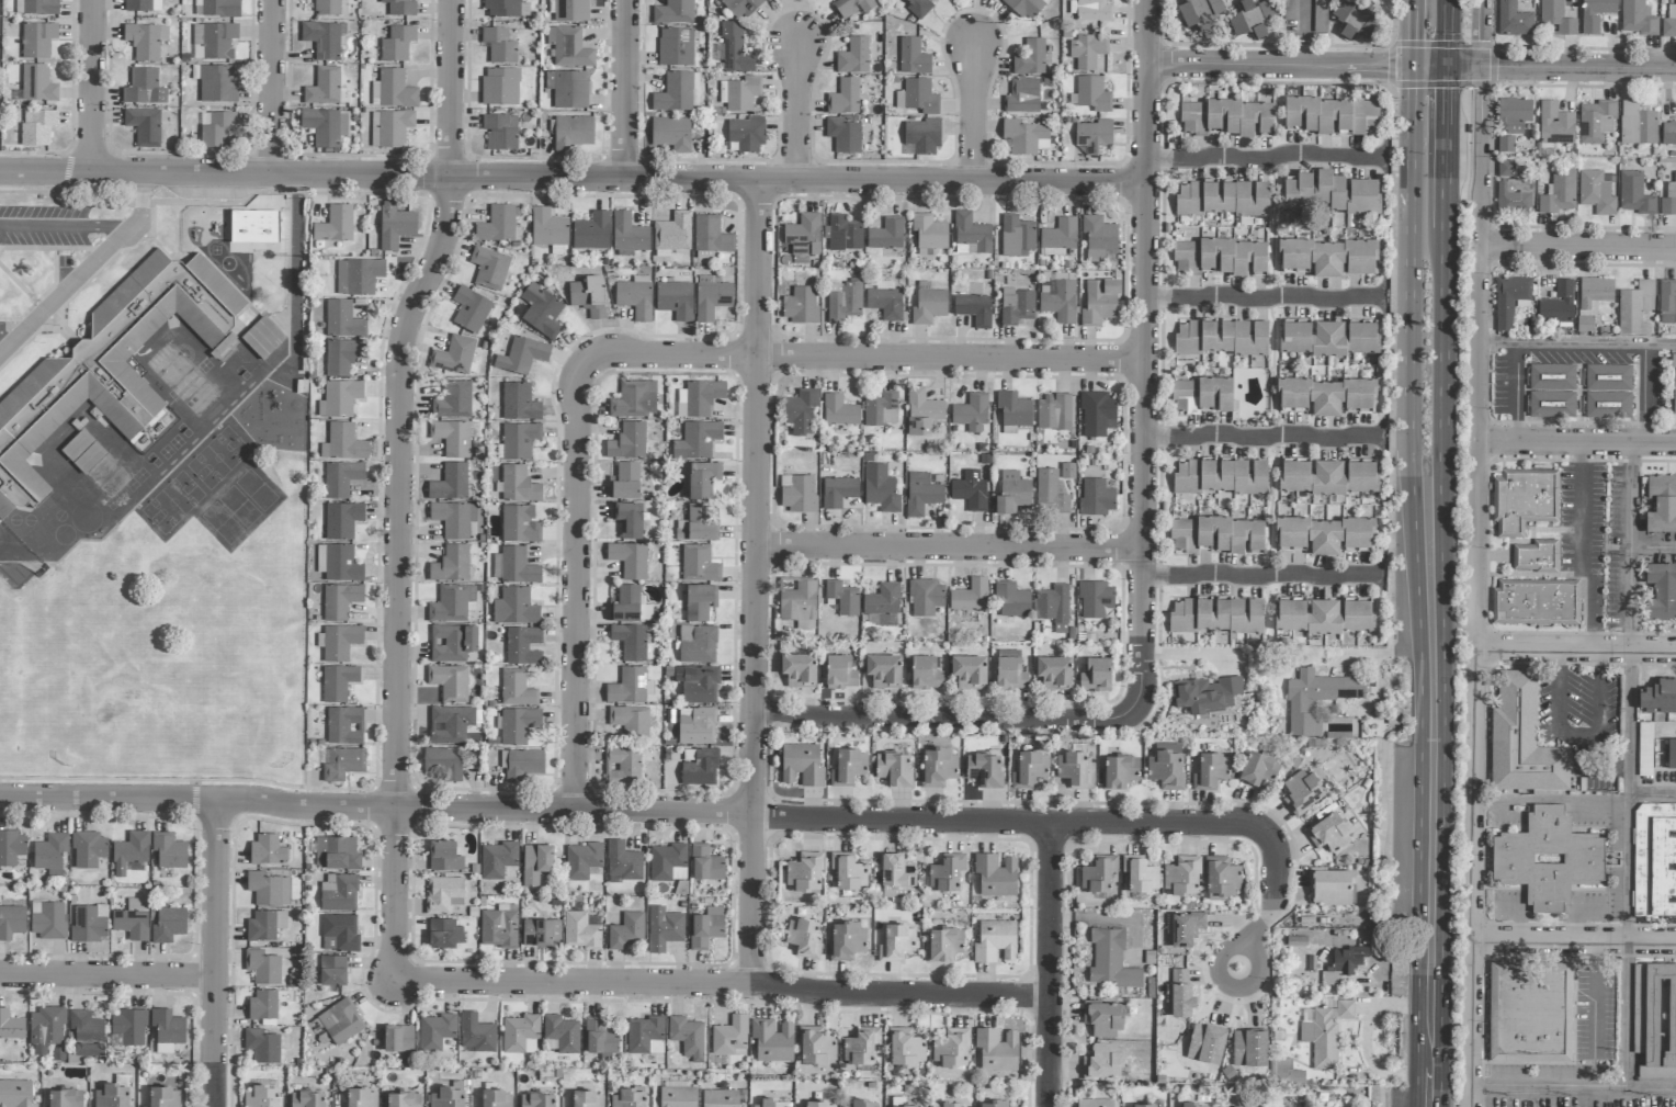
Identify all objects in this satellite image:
building: (41, 7)
building: (400, 7)
building: (852, 7)
building: (741, 8)
building: (919, 8)
building: (1024, 8)
building: (506, 9)
building: (1090, 10)
building: (1289, 10)
building: (570, 11)
building: (1200, 11)
building: (675, 12)
building: (1595, 14)
building: (1321, 15)
building: (1258, 16)
building: (1514, 18)
building: (1556, 18)
building: (1638, 19)
building: (1354, 21)
building: (1669, 22)
building: (1238, 25)
road: (1306, 33)
road: (1407, 34)
road: (1451, 34)
building: (324, 38)
building: (37, 39)
building: (145, 41)
building: (213, 41)
building: (397, 44)
building: (499, 45)
building: (569, 47)
building: (676, 47)
building: (735, 50)
building: (1087, 50)
building: (853, 56)
building: (913, 57)
building: (1030, 58)
road: (1279, 66)
traffic signals: (1407, 68)
traffic signals: (1451, 68)
road: (1541, 68)
building: (216, 82)
building: (37, 83)
road: (93, 87)
road: (273, 87)
building: (500, 87)
building: (144, 88)
building: (326, 88)
building: (568, 89)
road: (626, 89)
building: (393, 90)
building: (676, 92)
road: (1151, 92)
building: (739, 93)
building: (1092, 94)
building: (917, 97)
building: (1022, 97)
building: (845, 98)
road: (799, 111)
road: (975, 114)
building: (1332, 115)
building: (1514, 115)
building: (1225, 117)
building: (1596, 121)
building: (1637, 124)
building: (1554, 125)
building: (36, 126)
building: (146, 126)
building: (325, 126)
building: (393, 127)
building: (215, 128)
building: (500, 132)
building: (573, 132)
building: (1668, 133)
building: (671, 134)
building: (746, 135)
building: (843, 135)
building: (920, 136)
building: (1094, 136)
building: (1026, 137)
building: (1506, 144)
road: (1450, 149)
road: (1265, 154)
building: (1505, 168)
road: (573, 177)
building: (1330, 193)
building: (1559, 193)
building: (1596, 193)
building: (1634, 194)
building: (1514, 196)
building: (1223, 197)
building: (1669, 200)
road: (140, 201)
road: (44, 223)
road: (109, 224)
building: (335, 225)
building: (497, 225)
building: (395, 226)
building: (547, 228)
building: (591, 231)
building: (673, 233)
building: (929, 233)
building: (843, 234)
building: (628, 235)
building: (711, 235)
building: (886, 235)
building: (971, 235)
building: (802, 236)
building: (1017, 236)
building: (1058, 237)
building: (1098, 237)
road: (1578, 247)
building: (1220, 257)
building: (1328, 257)
road: (293, 266)
building: (489, 268)
building: (358, 276)
road: (65, 286)
road: (1261, 294)
building: (588, 296)
building: (635, 297)
building: (675, 300)
building: (711, 300)
building: (1509, 300)
building: (1592, 300)
building: (845, 301)
building: (885, 301)
building: (1060, 302)
building: (1099, 302)
building: (1667, 302)
building: (928, 304)
building: (1558, 304)
building: (801, 306)
building: (1017, 306)
building: (974, 308)
building: (1634, 308)
building: (471, 309)
building: (541, 312)
building: (342, 320)
building: (1221, 337)
building: (1362, 337)
building: (262, 338)
building: (1312, 338)
road: (1447, 342)
road: (1578, 344)
building: (342, 355)
building: (522, 355)
building: (456, 357)
road: (868, 357)
building: (110, 366)
building: (1552, 377)
building: (1608, 377)
building: (1674, 383)
building: (1201, 395)
building: (1326, 396)
building: (339, 398)
building: (699, 398)
building: (634, 399)
building: (453, 400)
building: (519, 403)
building: (1552, 405)
building: (1608, 405)
building: (881, 409)
building: (839, 410)
building: (800, 411)
building: (1013, 411)
building: (1054, 411)
building: (921, 413)
building: (971, 414)
building: (1097, 414)
road: (1260, 432)
building: (453, 437)
building: (519, 440)
building: (697, 440)
building: (627, 441)
building: (343, 442)
road: (1578, 444)
road: (1143, 456)
building: (1221, 476)
building: (1327, 476)
building: (340, 478)
building: (701, 479)
building: (625, 482)
building: (450, 483)
road: (399, 485)
building: (519, 485)
building: (970, 490)
building: (838, 492)
building: (1050, 492)
building: (799, 494)
building: (882, 494)
building: (921, 494)
building: (1012, 494)
building: (1096, 497)
building: (1524, 500)
building: (1662, 504)
building: (454, 519)
building: (627, 519)
building: (342, 520)
building: (697, 523)
building: (519, 524)
building: (1219, 534)
building: (1324, 534)
road: (1480, 542)
building: (1190, 545)
road: (948, 547)
road: (1582, 547)
road: (1655, 551)
road: (1445, 555)
building: (1536, 556)
building: (628, 560)
building: (338, 563)
building: (451, 564)
building: (699, 564)
building: (513, 566)
road: (1259, 573)
road: (573, 580)
road: (754, 580)
road: (1415, 587)
building: (1662, 591)
building: (970, 596)
building: (843, 597)
building: (926, 597)
building: (1095, 599)
building: (340, 600)
building: (797, 600)
building: (1011, 600)
building: (699, 602)
building: (1536, 602)
building: (452, 603)
building: (628, 605)
building: (883, 605)
building: (514, 607)
building: (1053, 607)
building: (1290, 613)
building: (1216, 615)
building: (632, 641)
building: (340, 642)
building: (452, 643)
building: (697, 644)
building: (522, 646)
road: (1577, 651)
building: (884, 669)
building: (799, 670)
building: (1009, 670)
building: (1054, 670)
building: (839, 673)
building: (969, 673)
building: (925, 674)
building: (1096, 675)
building: (338, 682)
building: (450, 682)
building: (700, 685)
building: (630, 687)
building: (517, 688)
building: (1207, 693)
building: (1658, 697)
building: (1316, 699)
road: (936, 718)
building: (631, 720)
building: (450, 724)
building: (344, 725)
building: (518, 725)
building: (697, 725)
road: (1577, 734)
building: (1522, 739)
building: (1645, 749)
building: (1671, 754)
building: (342, 763)
building: (443, 763)
building: (521, 764)
building: (623, 765)
building: (801, 765)
building: (699, 766)
road: (1632, 766)
building: (848, 767)
building: (938, 767)
building: (893, 769)
building: (1030, 769)
building: (1165, 769)
building: (1258, 769)
building: (984, 770)
building: (1074, 770)
building: (1119, 771)
building: (1211, 771)
building: (1302, 792)
road: (1554, 798)
road: (1654, 800)
road: (605, 810)
building: (1328, 833)
building: (11, 847)
building: (89, 849)
building: (268, 850)
building: (169, 851)
building: (337, 852)
building: (50, 854)
building: (131, 854)
building: (444, 857)
building: (497, 859)
building: (1548, 859)
building: (582, 860)
building: (1654, 860)
building: (536, 862)
building: (623, 862)
building: (668, 862)
building: (705, 863)
building: (847, 871)
building: (804, 872)
building: (947, 872)
building: (1099, 873)
road: (1277, 873)
building: (1140, 874)
building: (895, 876)
building: (996, 876)
building: (1222, 876)
building: (1181, 877)
road: (1441, 881)
building: (1332, 886)
building: (268, 889)
building: (339, 892)
building: (444, 894)
building: (47, 919)
building: (132, 920)
building: (11, 922)
building: (89, 924)
building: (168, 924)
building: (264, 925)
building: (499, 926)
building: (706, 927)
building: (664, 928)
building: (1186, 928)
building: (540, 931)
building: (580, 931)
building: (626, 931)
building: (339, 934)
building: (445, 934)
building: (803, 938)
building: (847, 940)
building: (995, 941)
building: (896, 942)
road: (1575, 942)
building: (943, 944)
road: (217, 952)
building: (1111, 960)
road: (1047, 963)
building: (1344, 963)
building: (262, 967)
building: (332, 970)
building: (1181, 973)
road: (107, 976)
road: (722, 982)
building: (1639, 996)
road: (1593, 998)
building: (1181, 1001)
building: (264, 1004)
building: (1530, 1012)
building: (1660, 1015)
building: (1102, 1018)
building: (338, 1024)
building: (11, 1026)
building: (128, 1026)
building: (46, 1029)
building: (167, 1029)
building: (435, 1031)
building: (519, 1032)
building: (1325, 1032)
building: (87, 1033)
building: (476, 1033)
building: (562, 1033)
building: (687, 1035)
building: (645, 1036)
building: (600, 1037)
building: (729, 1037)
building: (398, 1038)
building: (772, 1040)
building: (1205, 1044)
building: (262, 1046)
building: (815, 1046)
building: (861, 1046)
building: (905, 1048)
building: (1249, 1048)
building: (997, 1049)
building: (951, 1050)
building: (1102, 1062)
building: (1649, 1072)
building: (1284, 1073)
road: (1573, 1085)
building: (15, 1094)
building: (113, 1095)
building: (261, 1096)
road: (1471, 1096)
building: (65, 1097)
building: (163, 1097)
building: (448, 1097)
building: (678, 1097)
building: (361, 1098)
building: (496, 1098)
building: (627, 1098)
building: (720, 1098)
building: (307, 1099)
building: (403, 1099)
building: (587, 1099)
building: (537, 1100)
building: (771, 1103)
building: (1095, 1103)
building: (817, 1104)
building: (860, 1104)
building: (993, 1104)
building: (949, 1105)
building: (1190, 1105)
building: (907, 1106)
building: (1147, 1106)

